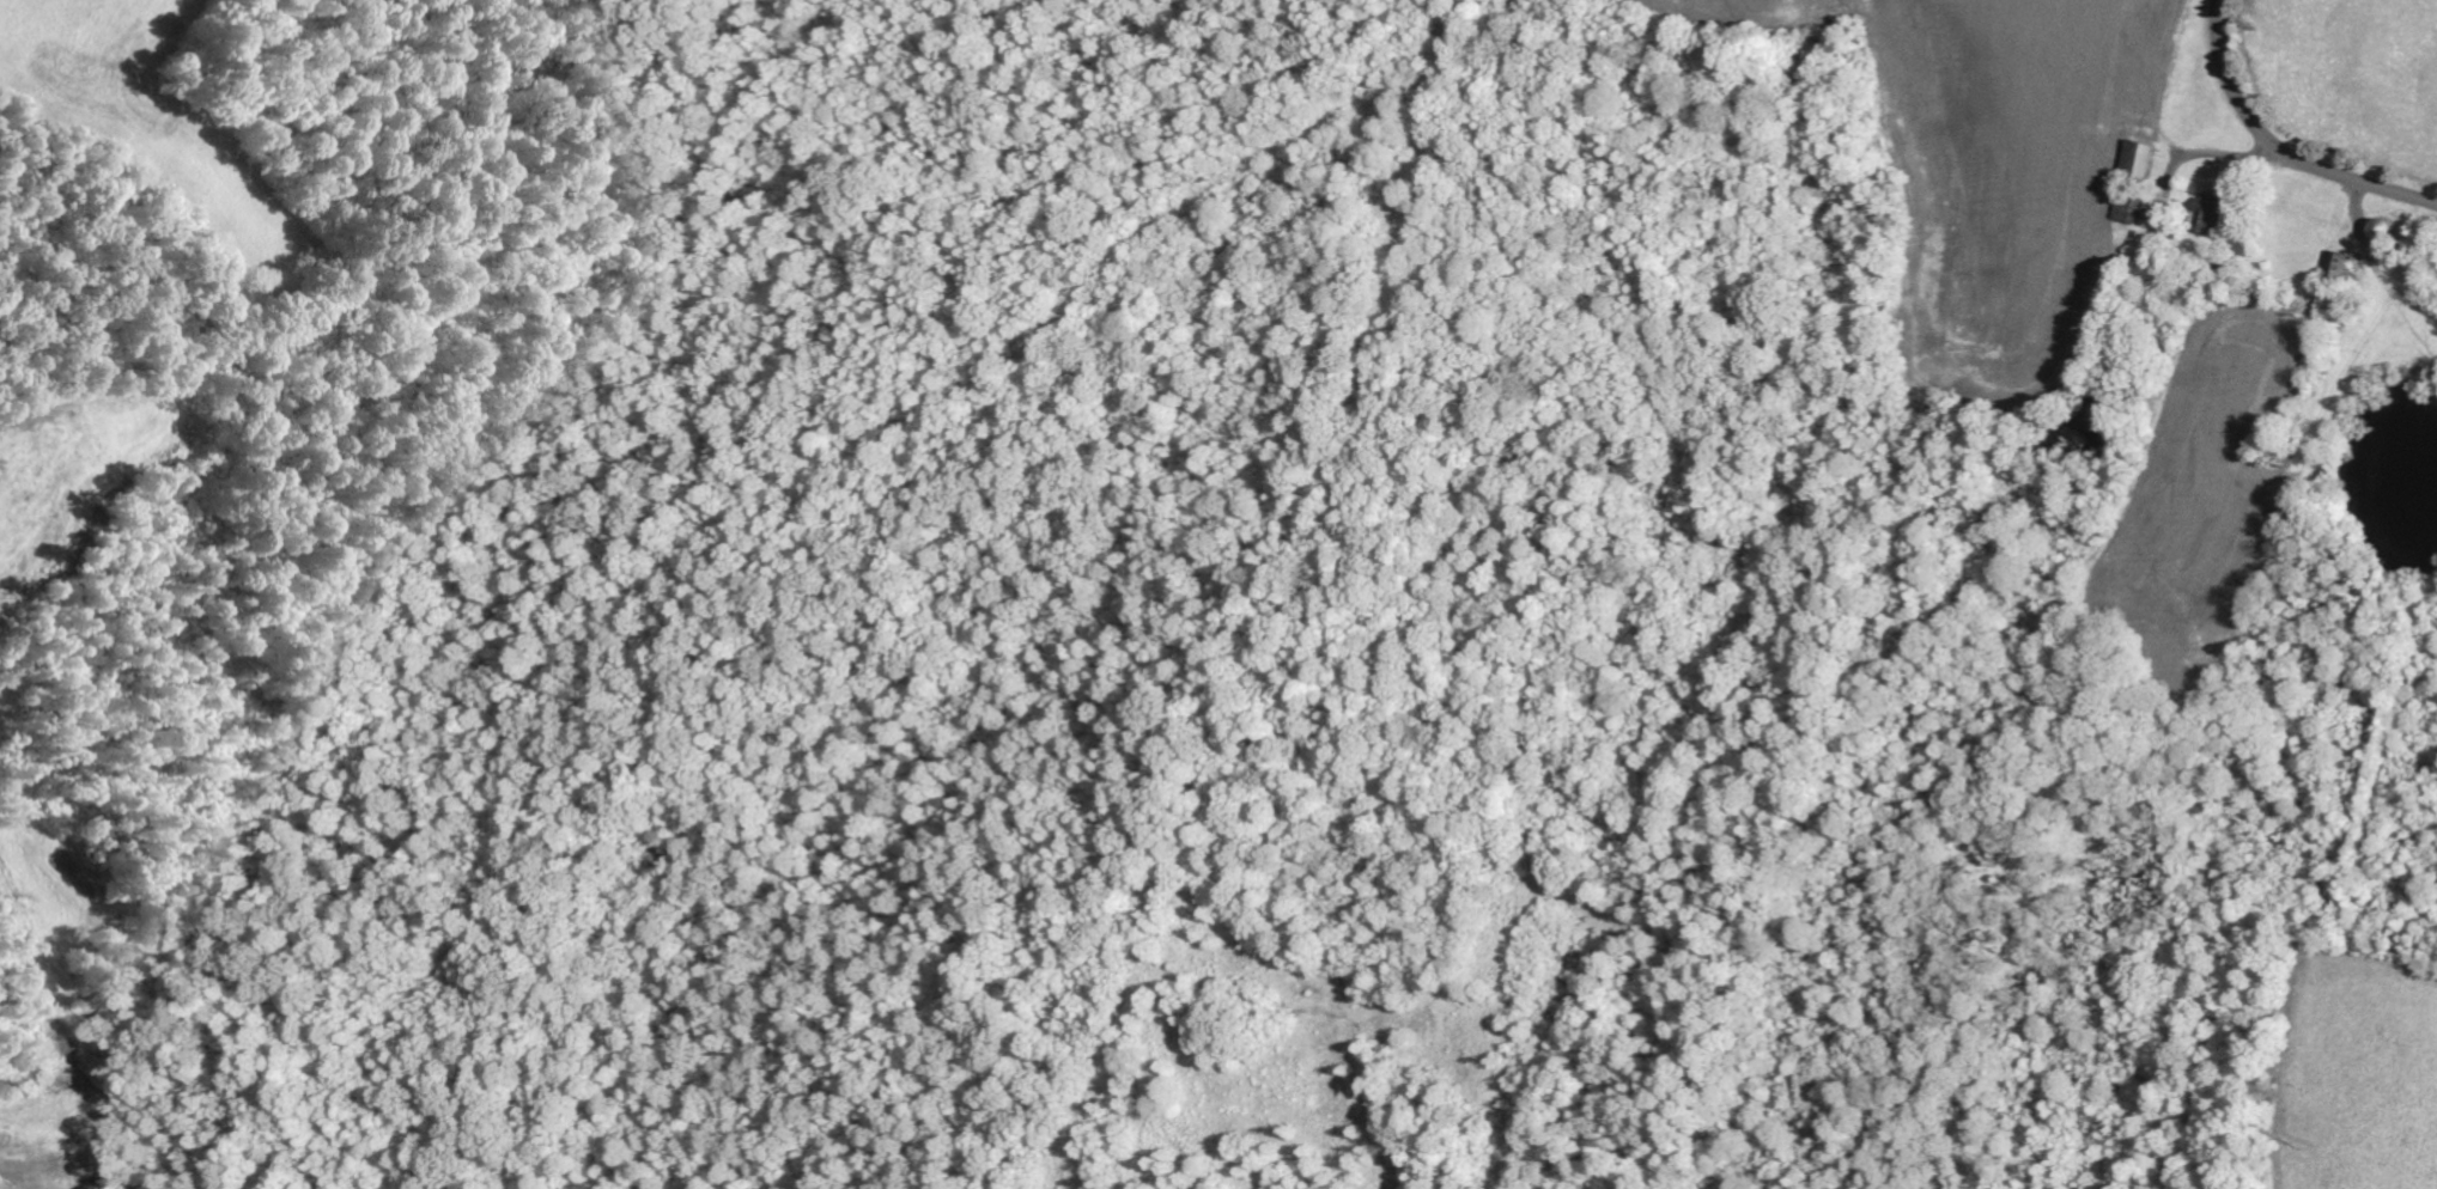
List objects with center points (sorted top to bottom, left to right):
road: (2281, 146)
building: (2141, 158)
building: (2212, 213)

